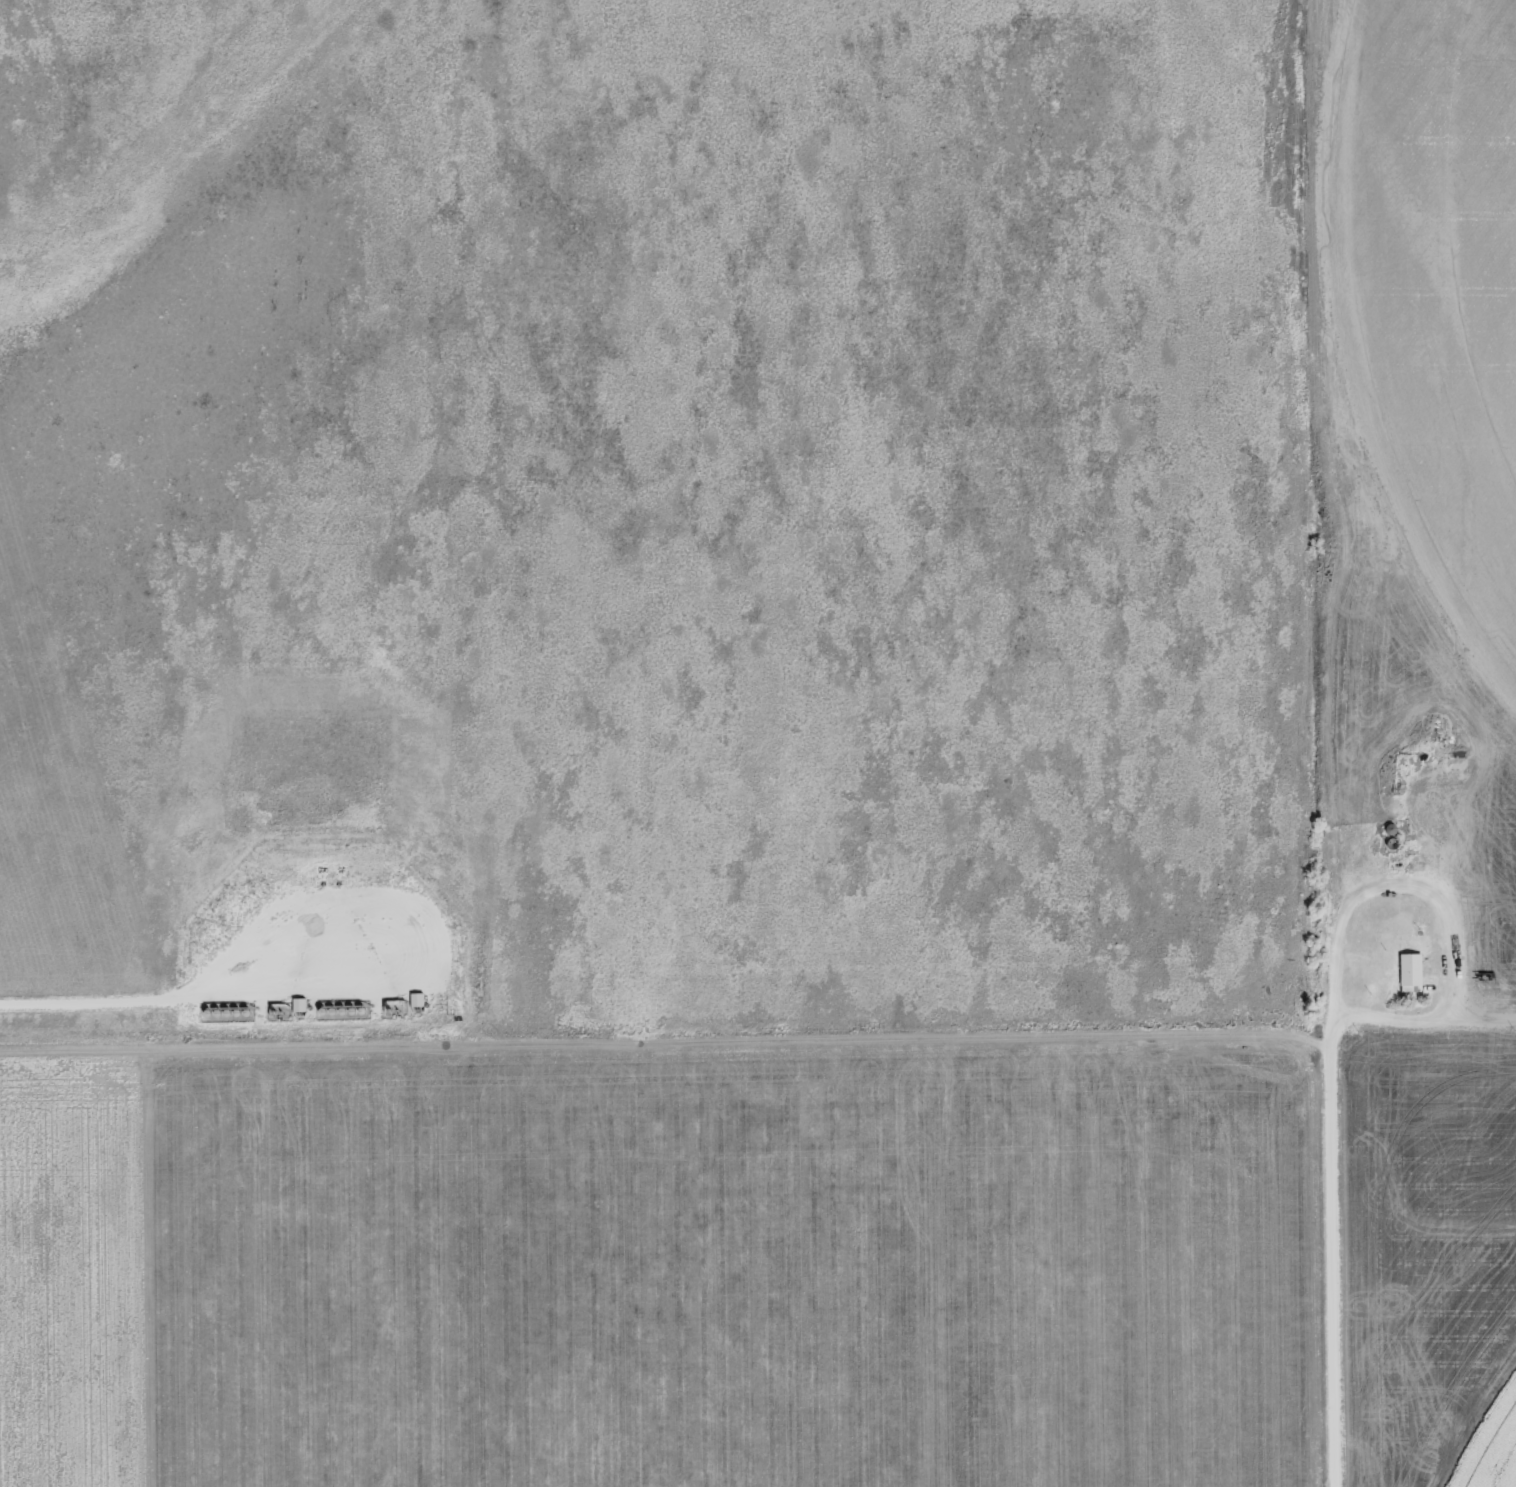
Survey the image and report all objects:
road: (1334, 1256)

